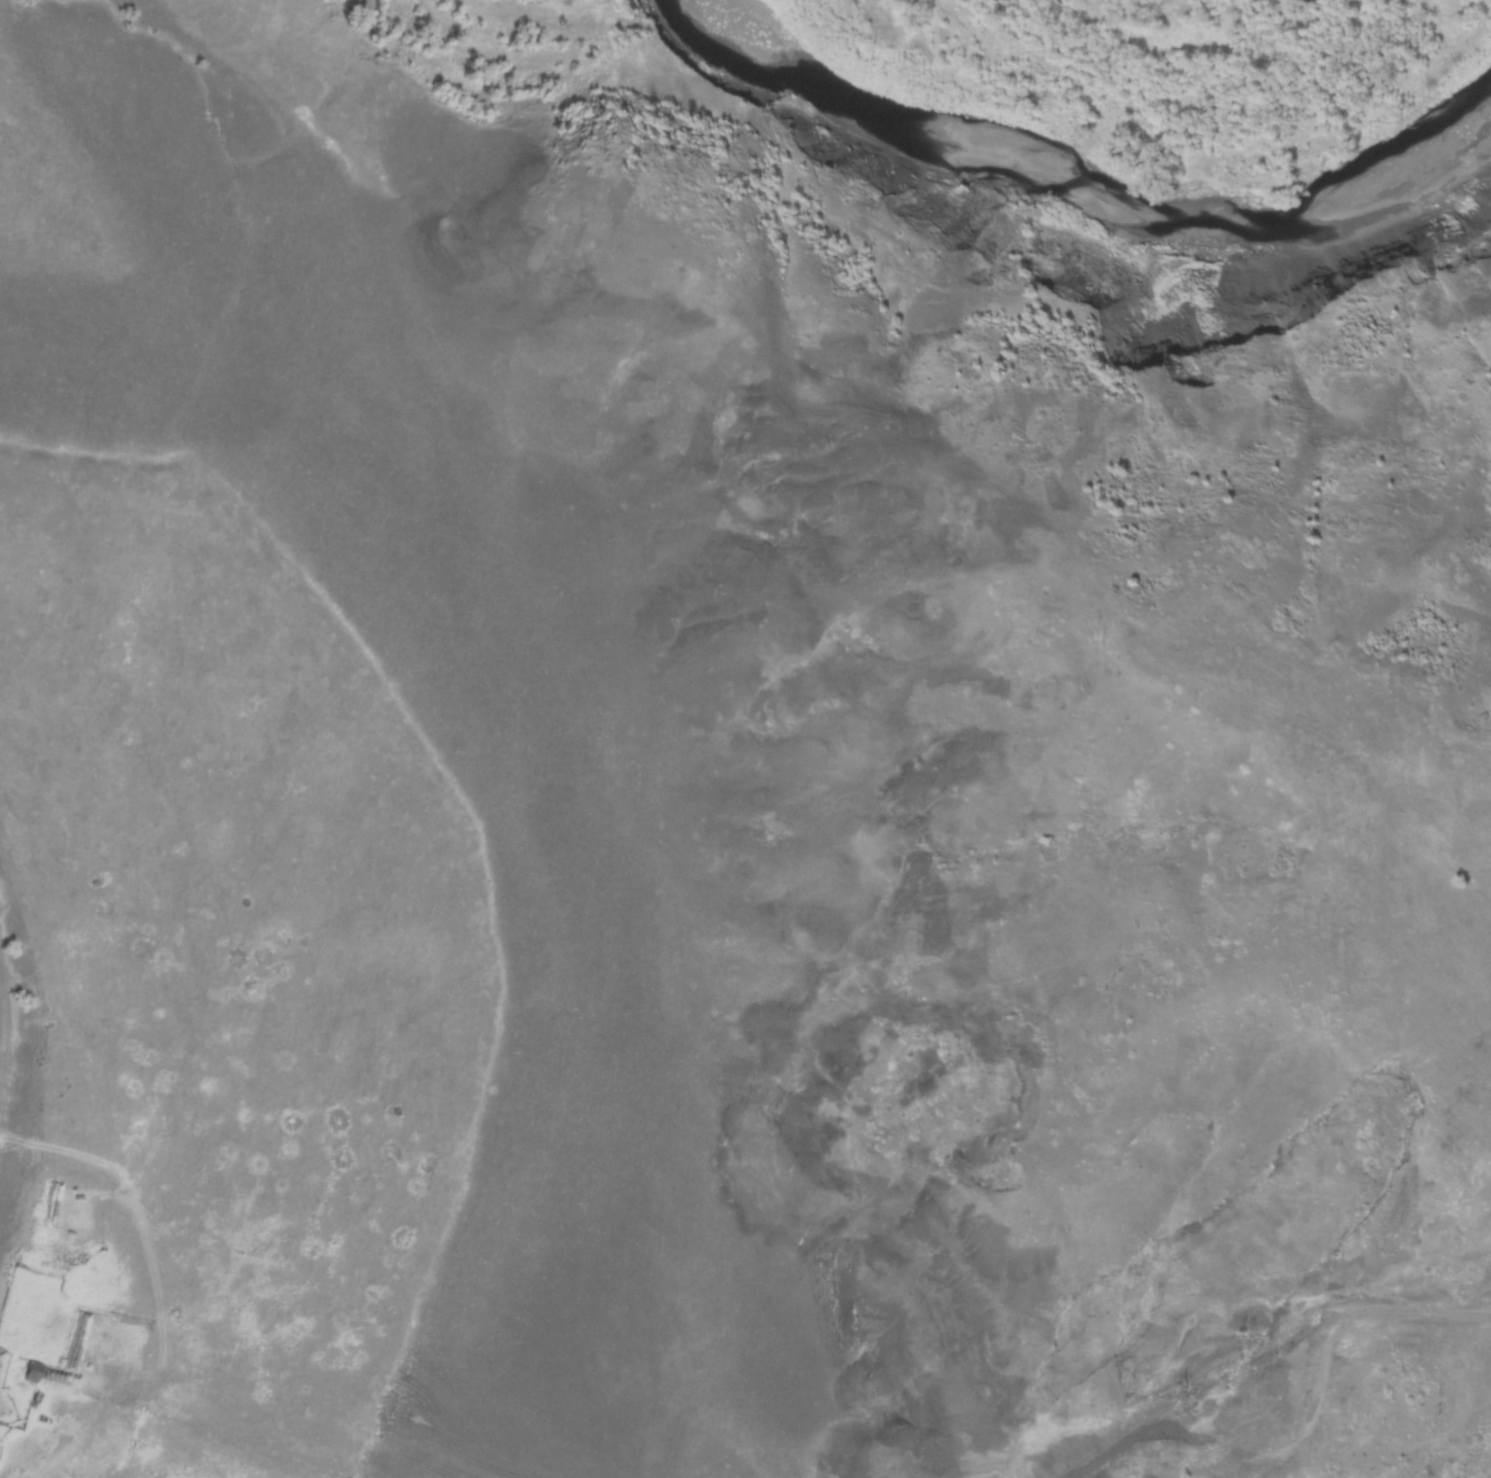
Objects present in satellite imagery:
river: (1098, 209)
building: (31, 1370)

